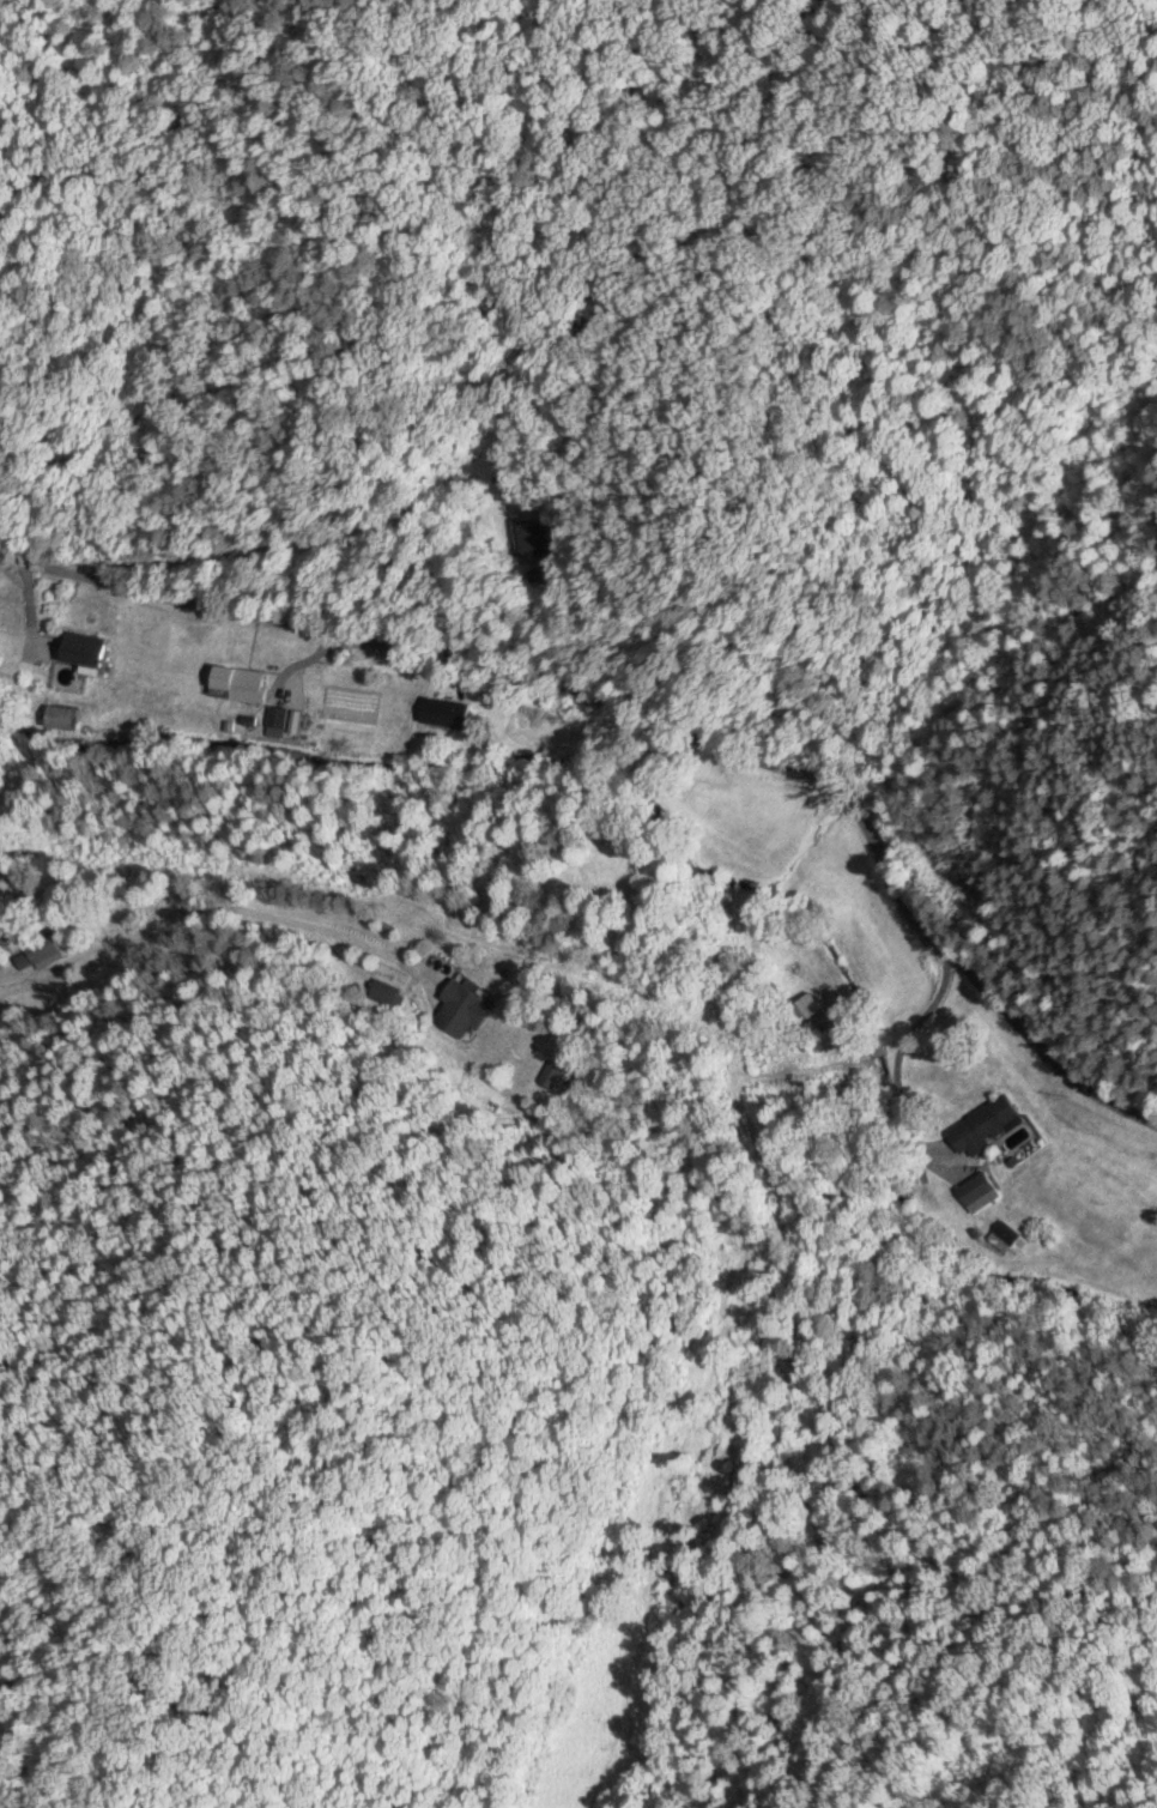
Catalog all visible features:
building: (532, 536)
building: (79, 647)
building: (236, 681)
building: (443, 710)
building: (60, 715)
road: (642, 716)
building: (275, 719)
building: (43, 949)
building: (0, 963)
building: (459, 1006)
building: (807, 1012)
building: (551, 1072)
building: (981, 1124)
building: (976, 1189)
road: (305, 1191)
building: (1002, 1234)

